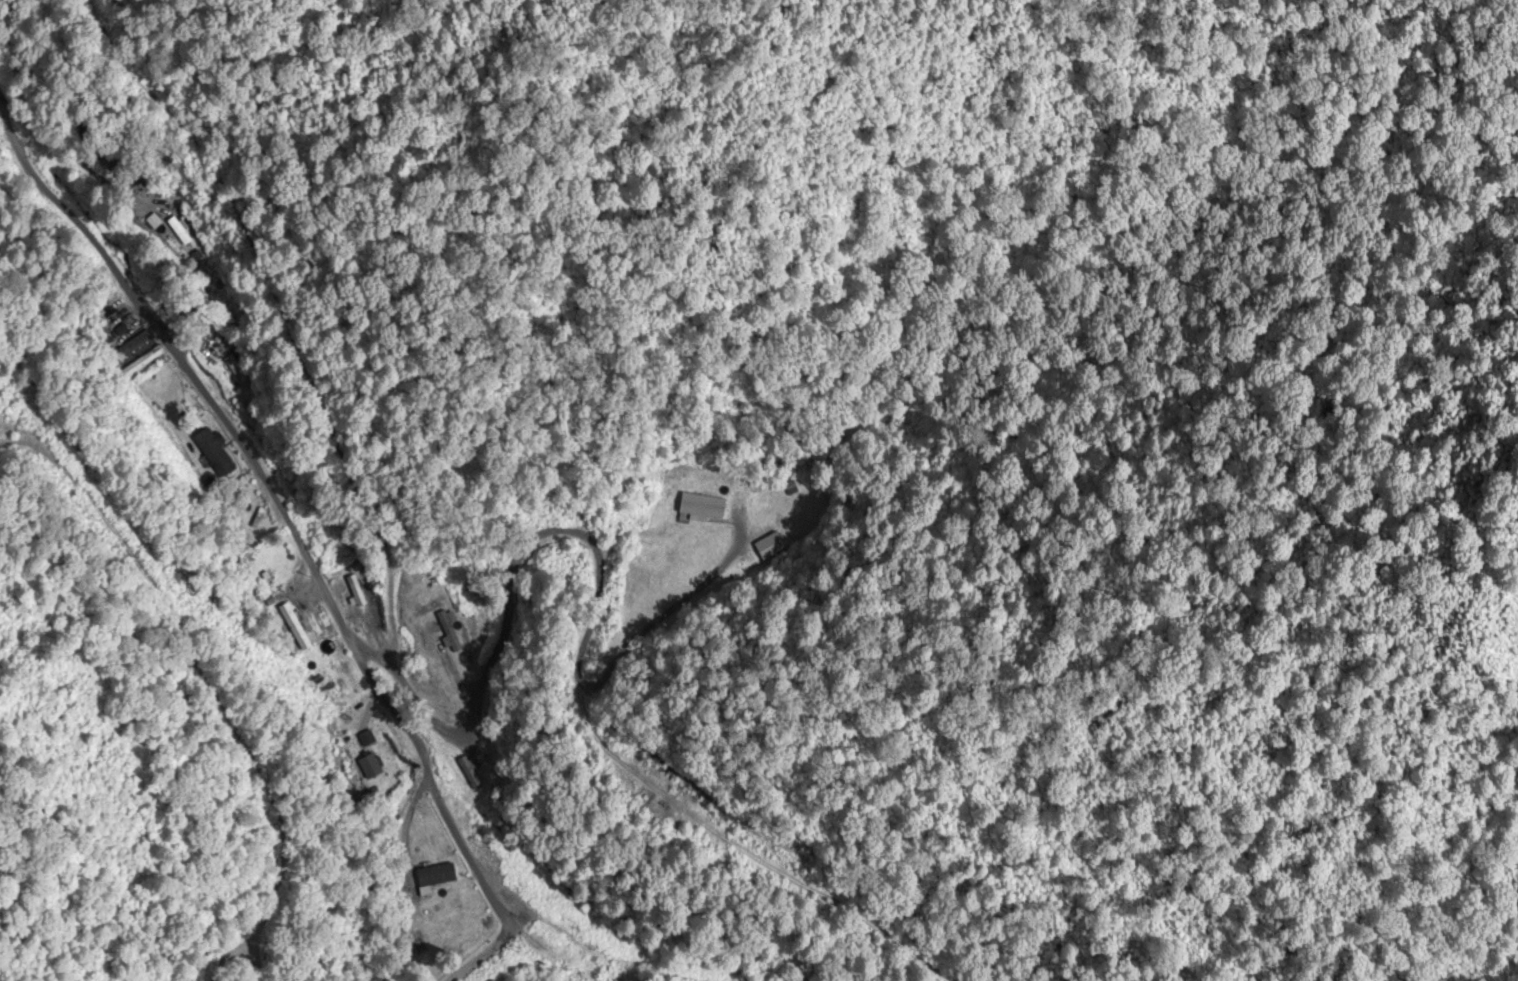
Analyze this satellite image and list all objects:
building: (154, 222)
building: (179, 232)
building: (133, 349)
building: (236, 372)
building: (213, 453)
road: (267, 493)
building: (703, 507)
building: (369, 766)
building: (435, 875)
road: (445, 958)

